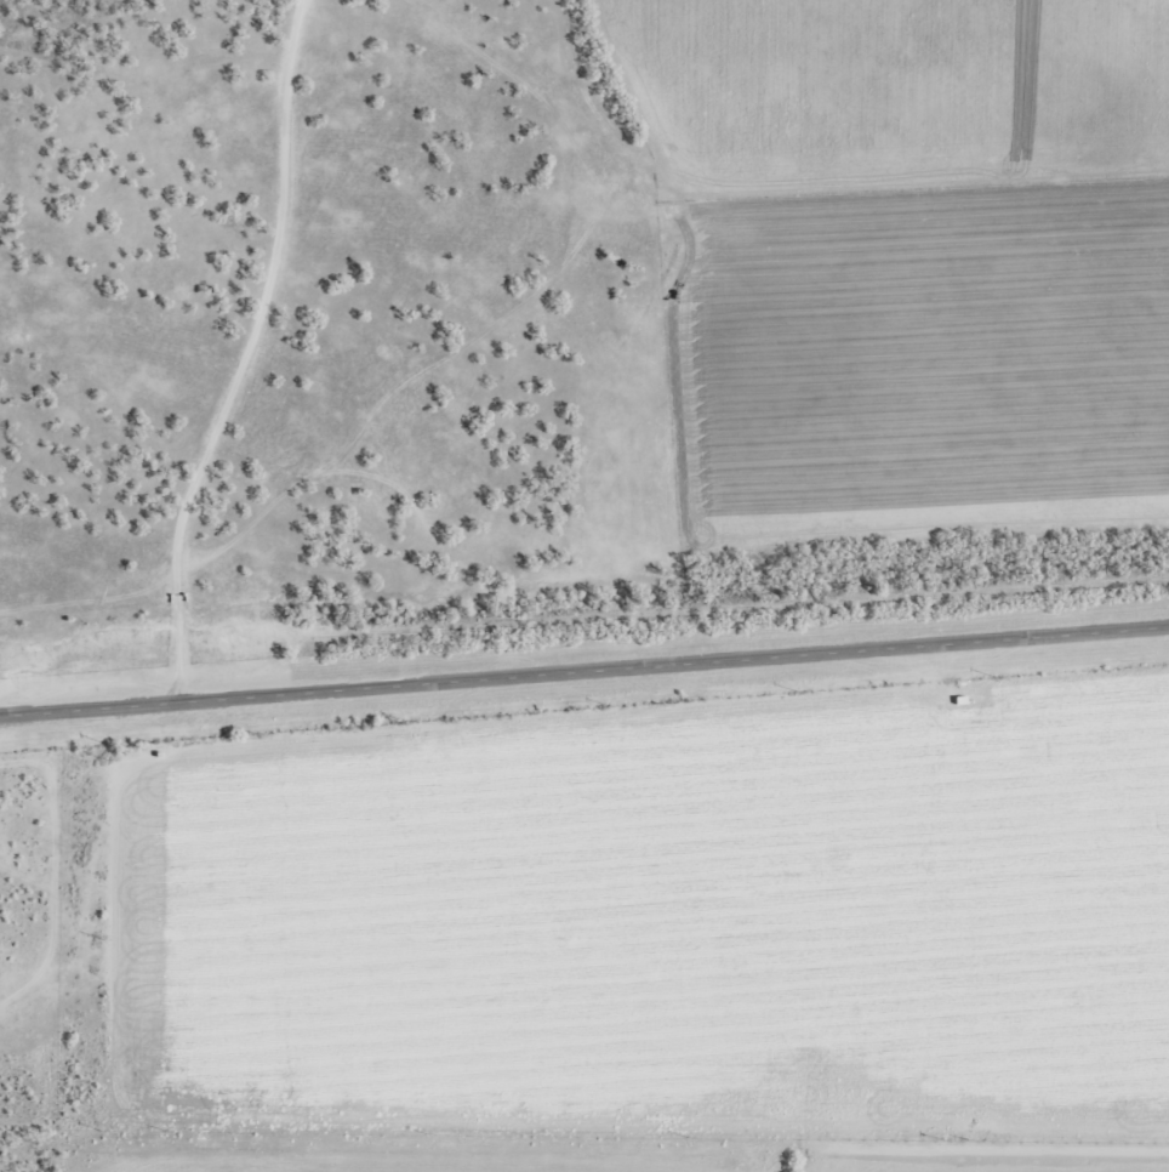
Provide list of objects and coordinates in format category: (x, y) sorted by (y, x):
road: (239, 353)
railway: (583, 615)
road: (583, 670)

